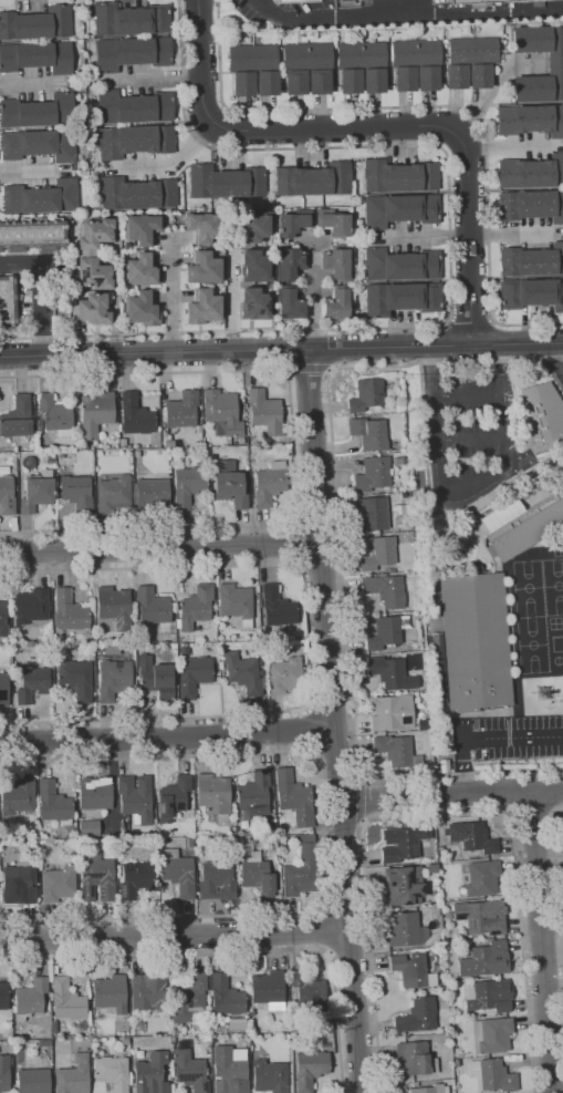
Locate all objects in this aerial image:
building: (383, 4)
road: (408, 16)
building: (128, 19)
building: (37, 23)
building: (129, 52)
building: (35, 56)
building: (468, 62)
building: (554, 63)
building: (248, 64)
building: (302, 64)
building: (414, 64)
building: (359, 66)
road: (157, 80)
building: (317, 81)
building: (265, 82)
road: (434, 105)
building: (132, 106)
building: (38, 111)
building: (530, 120)
road: (380, 127)
building: (133, 141)
building: (38, 144)
road: (510, 145)
road: (333, 146)
road: (175, 163)
building: (531, 172)
building: (397, 176)
building: (313, 179)
building: (223, 182)
building: (135, 193)
building: (40, 197)
building: (531, 205)
building: (398, 209)
building: (292, 221)
building: (332, 221)
building: (200, 226)
building: (253, 227)
building: (139, 228)
building: (31, 235)
road: (470, 236)
building: (92, 252)
building: (531, 260)
building: (288, 262)
building: (335, 262)
building: (399, 265)
building: (252, 266)
building: (204, 268)
building: (138, 269)
road: (40, 287)
building: (532, 293)
road: (314, 295)
road: (173, 296)
road: (231, 297)
road: (116, 298)
building: (399, 298)
building: (7, 299)
building: (253, 303)
building: (289, 303)
building: (335, 305)
building: (202, 307)
building: (88, 309)
building: (139, 309)
road: (492, 321)
road: (447, 322)
road: (469, 322)
road: (222, 331)
road: (559, 344)
road: (530, 346)
road: (451, 347)
road: (489, 347)
road: (213, 352)
road: (559, 352)
road: (446, 361)
road: (306, 367)
road: (505, 369)
road: (329, 370)
road: (429, 371)
road: (468, 393)
building: (367, 394)
building: (181, 410)
building: (222, 412)
building: (265, 412)
building: (96, 413)
building: (55, 415)
building: (136, 415)
road: (507, 415)
building: (542, 416)
building: (17, 417)
road: (497, 422)
parking lot: (466, 424)
building: (39, 426)
building: (369, 433)
road: (470, 439)
building: (123, 442)
building: (169, 443)
building: (86, 446)
road: (294, 452)
building: (62, 454)
building: (51, 461)
building: (29, 462)
road: (333, 464)
building: (9, 466)
building: (373, 474)
building: (270, 483)
building: (189, 484)
building: (231, 488)
building: (38, 492)
building: (77, 493)
building: (114, 494)
building: (154, 495)
building: (7, 496)
road: (444, 497)
building: (373, 513)
building: (526, 527)
road: (300, 545)
road: (159, 548)
building: (378, 553)
building: (392, 569)
park: (553, 585)
park: (528, 588)
building: (386, 589)
building: (237, 604)
building: (31, 606)
building: (114, 606)
building: (196, 607)
building: (278, 607)
building: (154, 608)
building: (70, 611)
building: (2, 620)
building: (386, 631)
building: (476, 640)
road: (307, 642)
park: (531, 643)
building: (108, 650)
building: (185, 650)
building: (221, 664)
building: (440, 668)
building: (244, 673)
building: (390, 673)
building: (194, 676)
building: (284, 676)
building: (76, 679)
building: (113, 679)
building: (156, 679)
building: (33, 684)
building: (4, 689)
building: (392, 712)
road: (334, 721)
road: (313, 729)
building: (447, 734)
road: (486, 738)
road: (167, 739)
parking lot: (508, 742)
building: (450, 750)
building: (397, 751)
road: (356, 770)
road: (514, 792)
building: (95, 793)
building: (253, 794)
building: (18, 796)
building: (213, 796)
building: (136, 797)
building: (173, 797)
building: (293, 797)
road: (403, 797)
road: (363, 802)
building: (54, 803)
road: (441, 815)
building: (90, 829)
building: (311, 832)
road: (322, 836)
building: (473, 837)
building: (190, 842)
building: (403, 843)
building: (83, 844)
building: (427, 859)
building: (302, 868)
building: (432, 868)
building: (178, 872)
building: (257, 874)
building: (97, 877)
building: (482, 878)
building: (135, 879)
building: (218, 879)
road: (556, 883)
building: (58, 884)
building: (19, 885)
building: (404, 885)
road: (346, 911)
building: (482, 916)
building: (406, 929)
road: (327, 932)
road: (174, 934)
road: (543, 942)
road: (350, 950)
road: (233, 953)
building: (486, 960)
building: (413, 970)
building: (309, 989)
building: (269, 990)
building: (148, 991)
building: (111, 993)
building: (3, 996)
building: (489, 996)
building: (226, 997)
building: (189, 998)
building: (30, 999)
building: (67, 1000)
building: (252, 1012)
building: (417, 1015)
building: (198, 1023)
building: (237, 1024)
building: (54, 1028)
building: (178, 1028)
building: (492, 1034)
building: (330, 1035)
building: (286, 1037)
building: (173, 1039)
building: (45, 1043)
building: (256, 1048)
building: (139, 1054)
building: (416, 1058)
building: (189, 1069)
building: (310, 1069)
building: (230, 1070)
building: (112, 1072)
building: (4, 1073)
building: (150, 1073)
building: (74, 1075)
building: (493, 1075)
building: (270, 1076)
building: (33, 1081)
building: (416, 1083)
building: (430, 1089)

